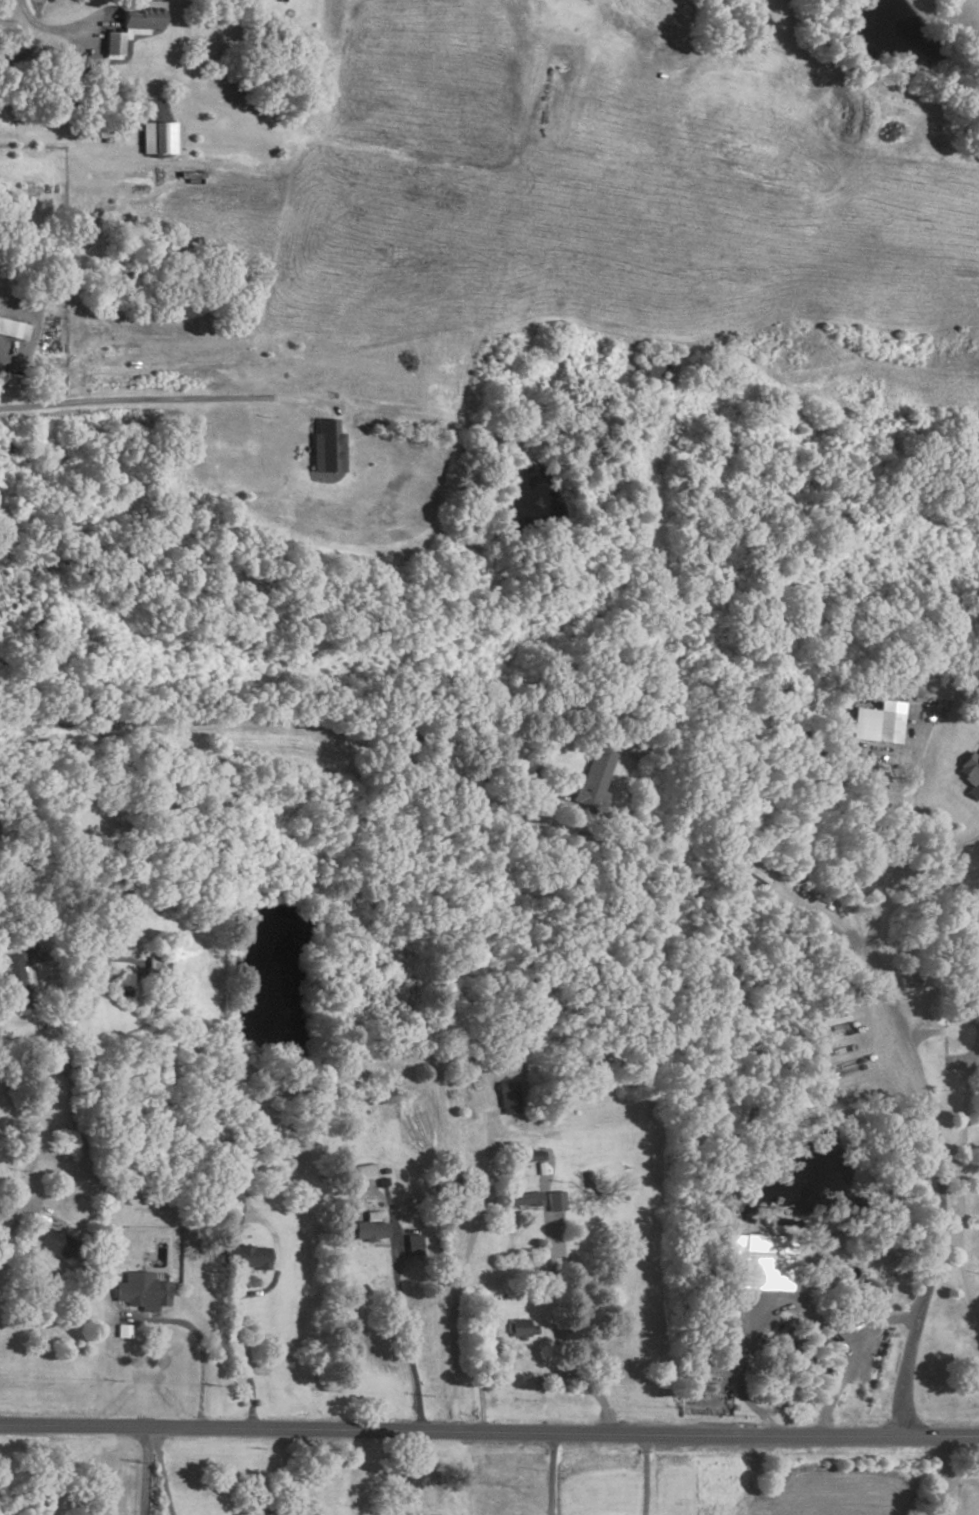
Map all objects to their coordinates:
building: (141, 16)
road: (50, 31)
building: (111, 46)
building: (154, 115)
building: (157, 137)
building: (11, 331)
road: (4, 353)
building: (651, 371)
road: (165, 401)
building: (324, 450)
road: (291, 718)
building: (885, 727)
building: (636, 747)
building: (963, 770)
building: (592, 783)
building: (2, 825)
road: (928, 861)
road: (64, 958)
building: (154, 970)
building: (17, 973)
building: (975, 1015)
road: (915, 1078)
building: (507, 1099)
building: (528, 1158)
building: (360, 1174)
building: (382, 1184)
road: (960, 1188)
building: (553, 1200)
building: (523, 1201)
building: (225, 1208)
road: (13, 1220)
building: (371, 1232)
building: (50, 1241)
building: (416, 1245)
building: (761, 1256)
building: (244, 1258)
road: (459, 1273)
building: (494, 1285)
building: (140, 1291)
road: (791, 1300)
road: (401, 1303)
road: (881, 1323)
building: (520, 1330)
road: (554, 1332)
road: (198, 1342)
road: (238, 1357)
road: (479, 1381)
road: (489, 1432)
road: (143, 1470)
road: (160, 1471)
road: (403, 1473)
road: (549, 1473)
road: (642, 1475)
road: (944, 1475)

